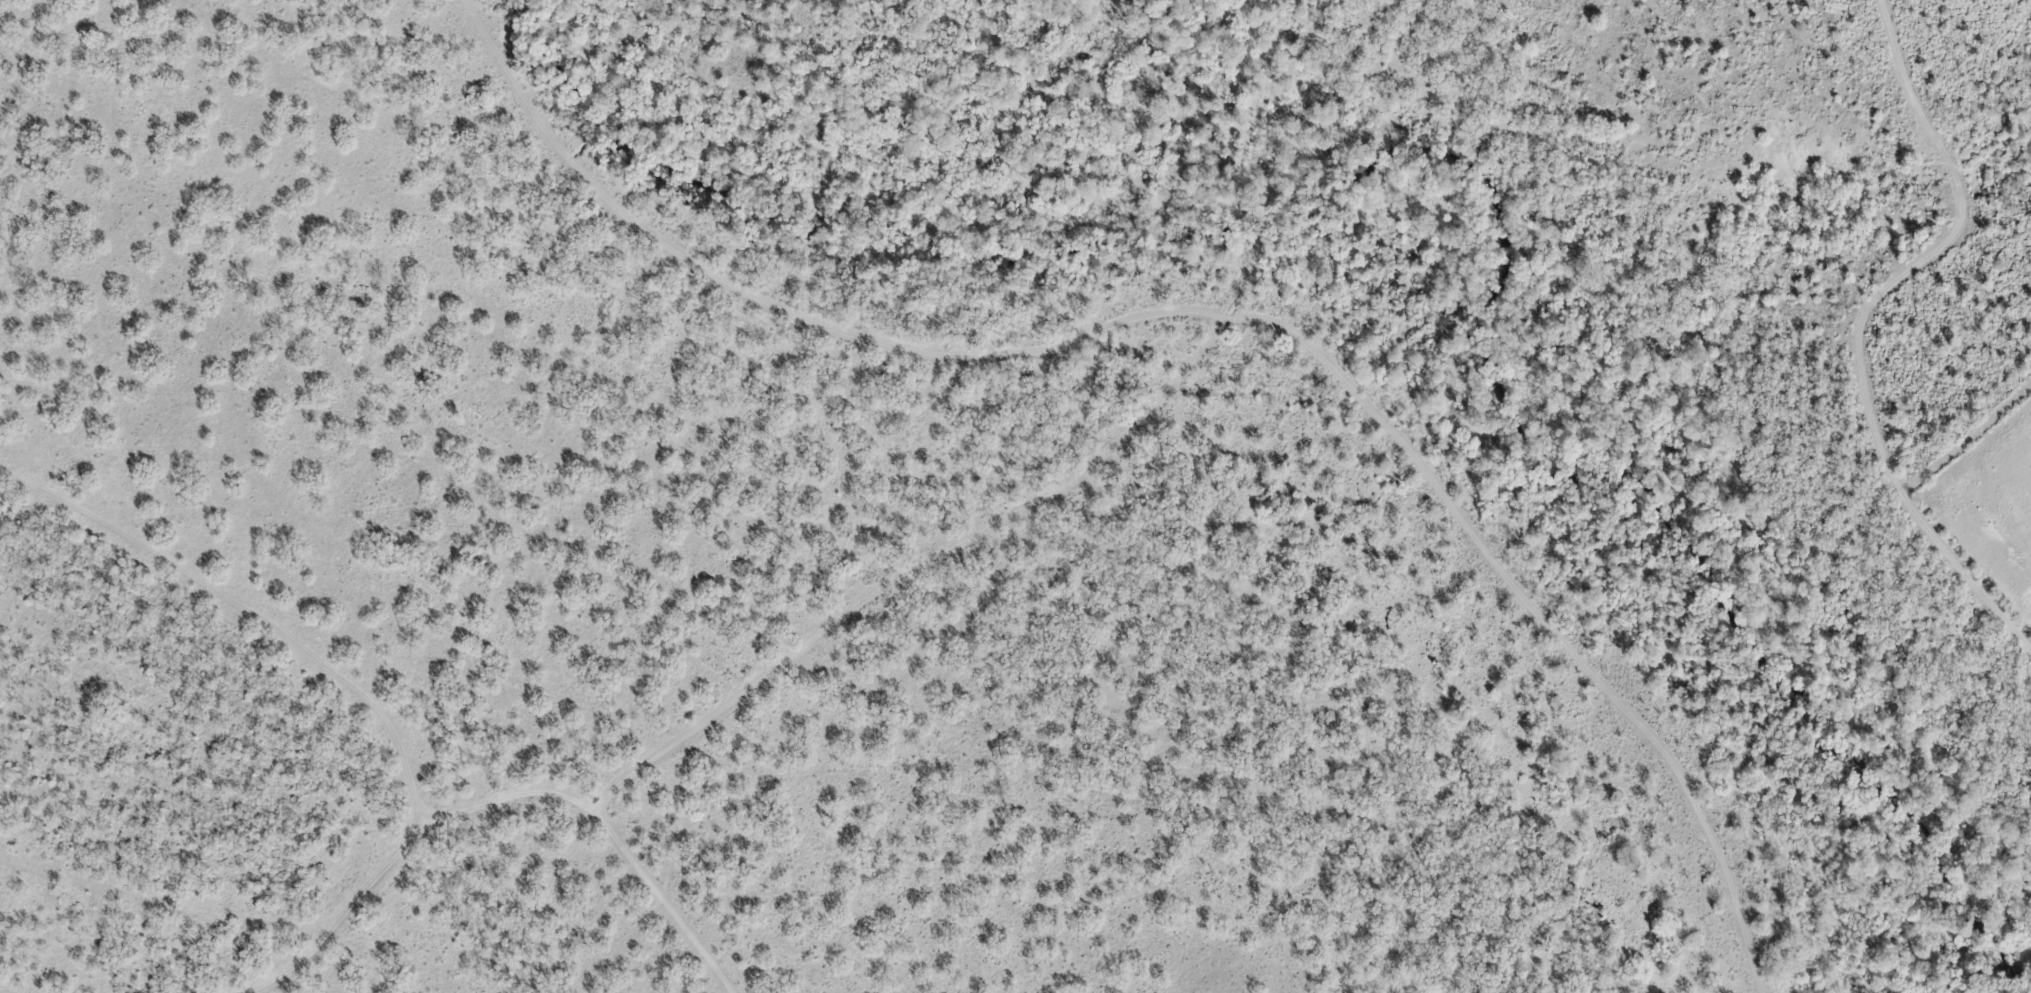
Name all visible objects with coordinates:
river: (840, 239)
river: (1665, 541)

